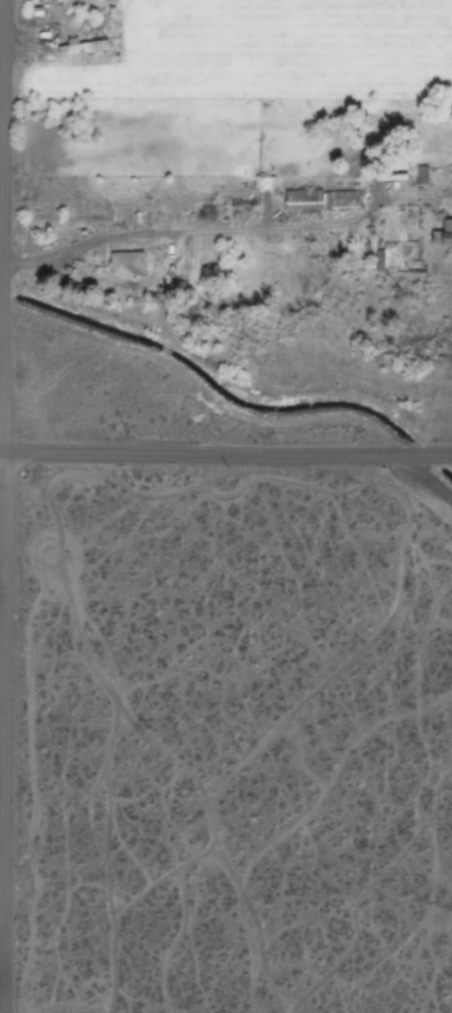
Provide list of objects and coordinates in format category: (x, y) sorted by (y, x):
road: (34, 30)
building: (82, 47)
building: (320, 199)
crop: (229, 228)
building: (441, 238)
building: (126, 264)
road: (40, 266)
road: (0, 315)
road: (1, 449)
road: (227, 452)
road: (353, 466)
road: (423, 480)
road: (2, 506)
road: (427, 524)
road: (62, 583)
road: (331, 669)
road: (27, 745)
road: (333, 766)
road: (112, 827)
road: (98, 850)
road: (157, 875)
road: (170, 938)

